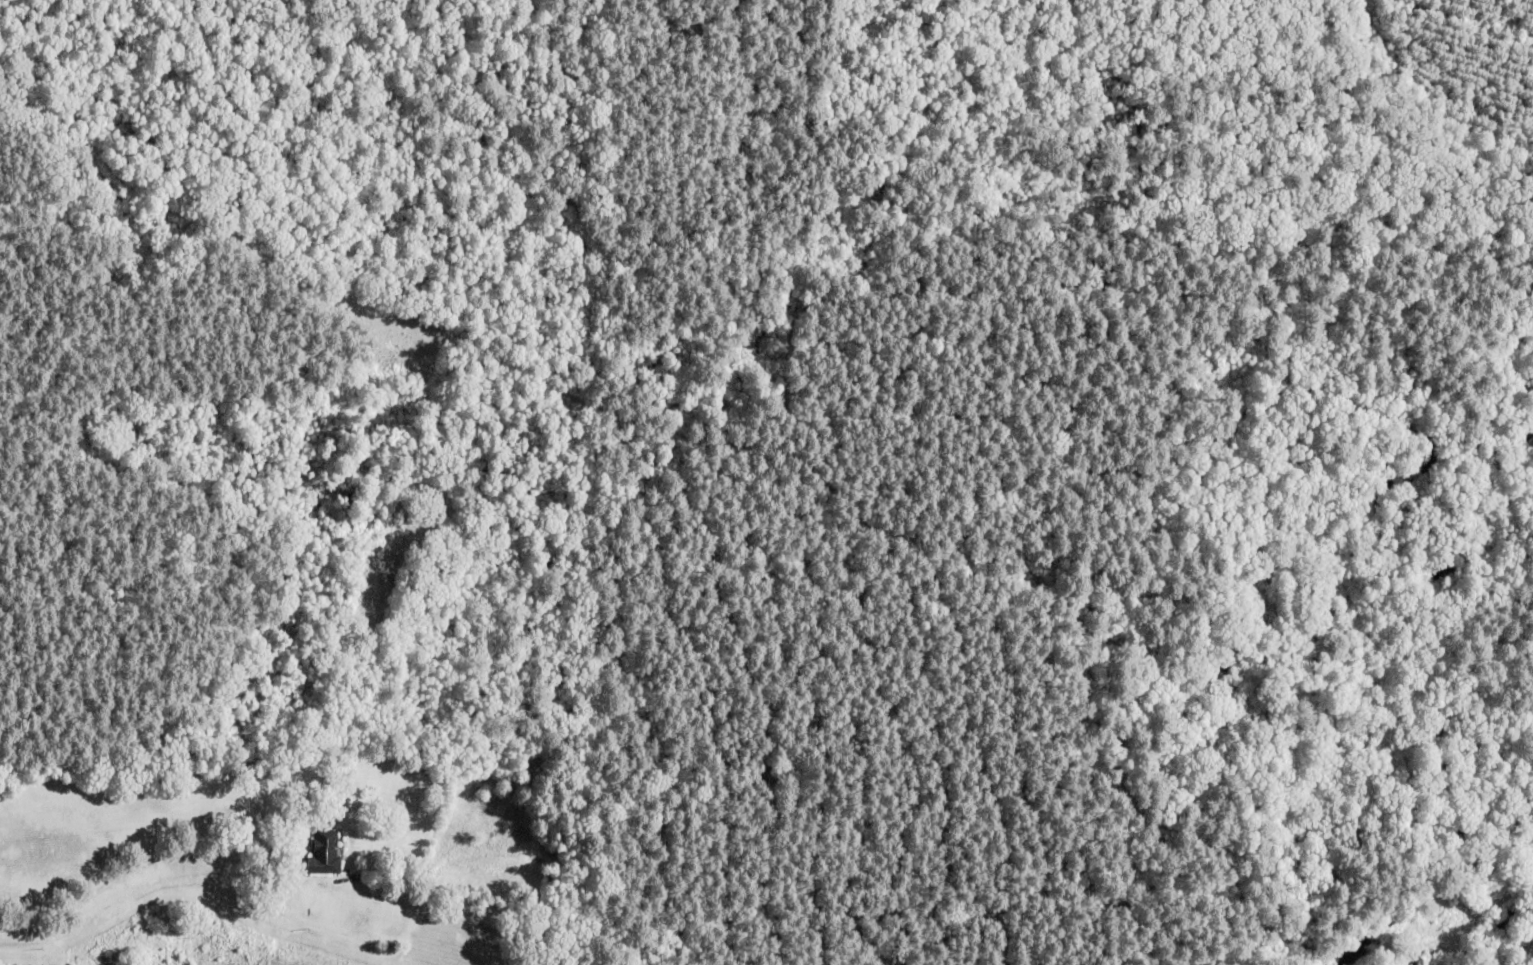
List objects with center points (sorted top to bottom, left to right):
building: (326, 852)

